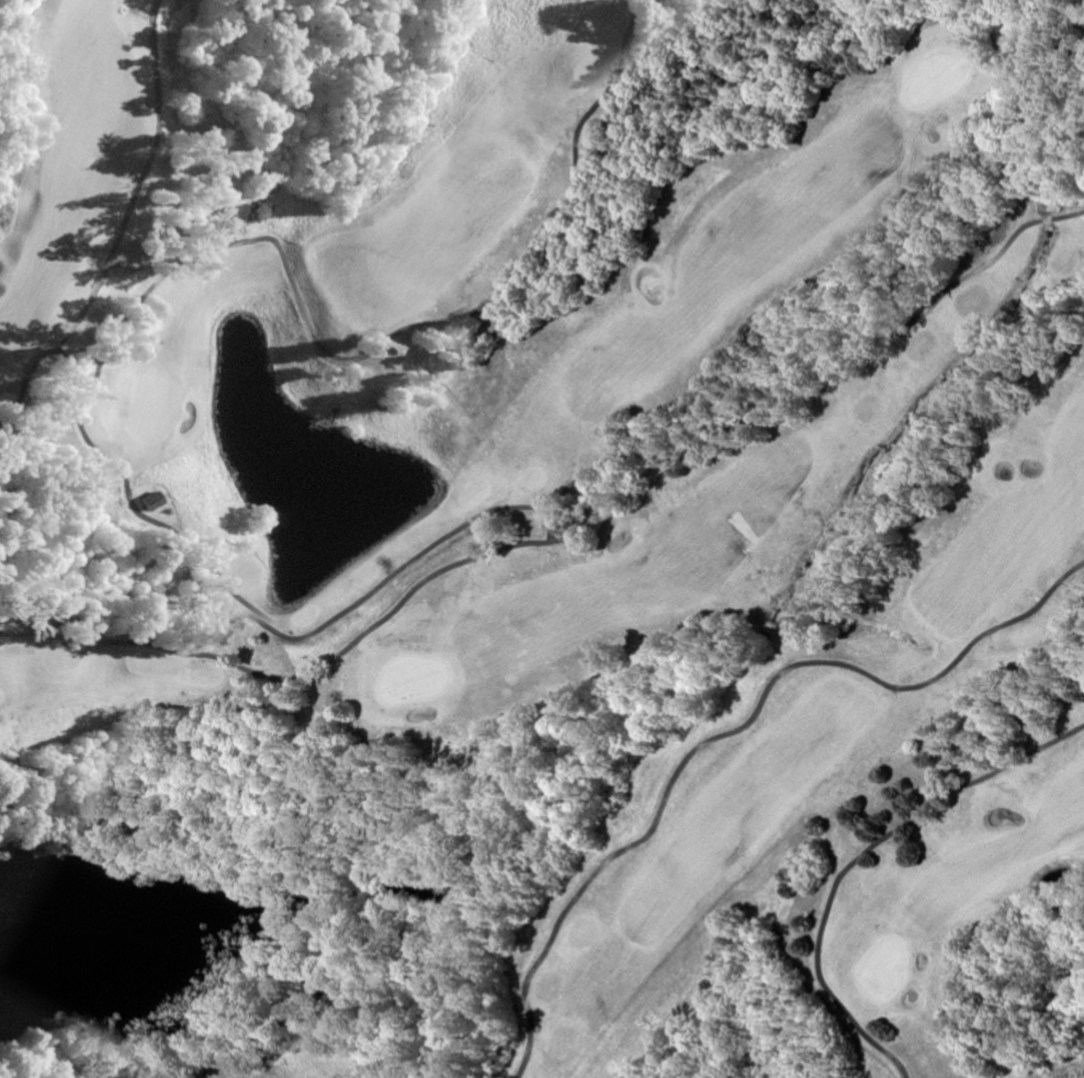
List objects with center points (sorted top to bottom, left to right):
building: (147, 503)
park: (558, 523)
park: (553, 527)

